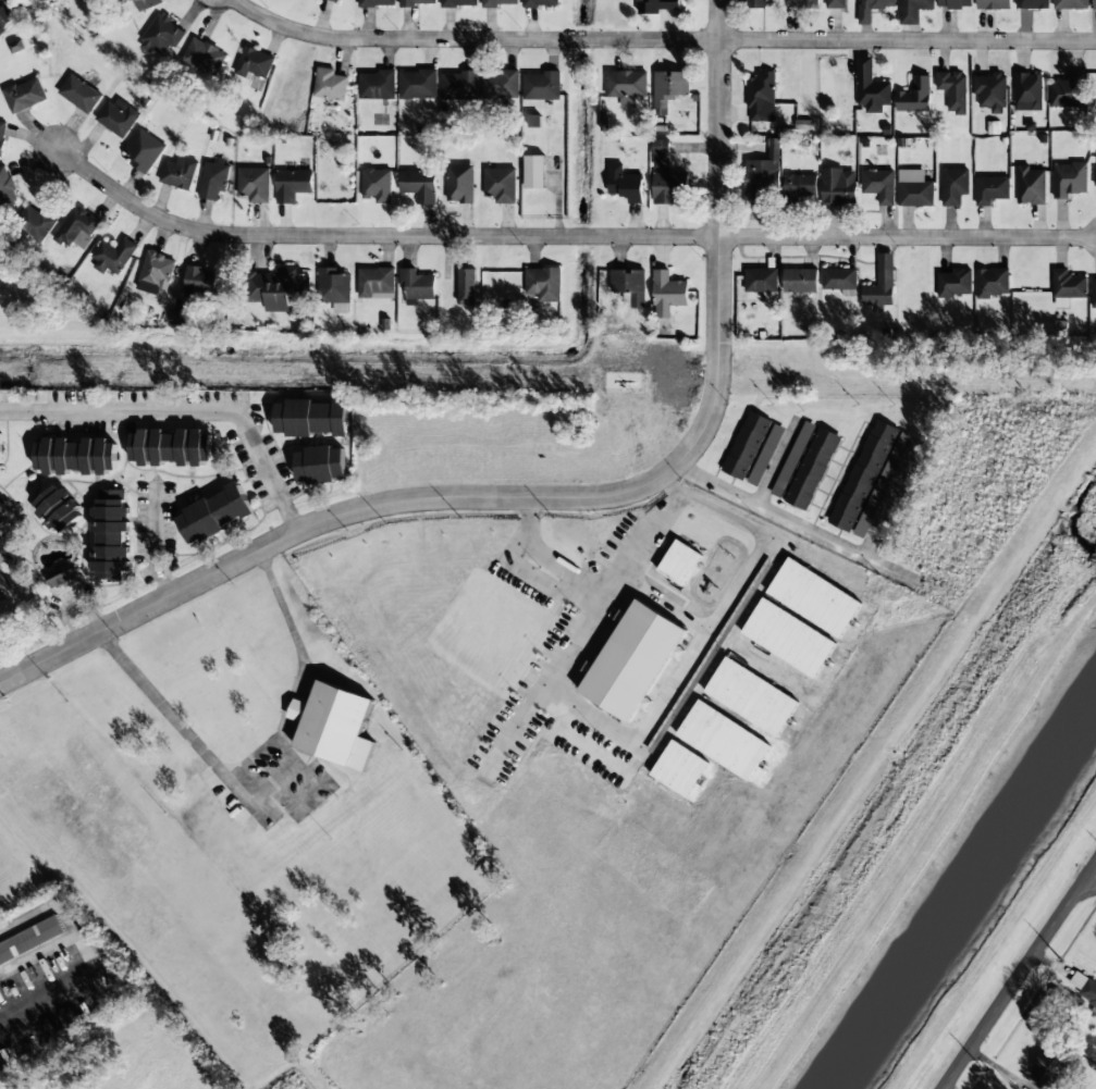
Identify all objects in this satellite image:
building: (334, 0)
building: (415, 2)
building: (801, 2)
building: (148, 3)
building: (377, 3)
building: (458, 3)
building: (497, 3)
building: (541, 3)
building: (756, 3)
building: (955, 3)
building: (1032, 3)
building: (835, 4)
building: (993, 4)
building: (1071, 4)
building: (1094, 4)
building: (657, 5)
building: (912, 10)
building: (5, 16)
building: (865, 16)
building: (161, 35)
road: (664, 39)
building: (15, 46)
building: (204, 57)
building: (255, 63)
building: (417, 84)
building: (330, 85)
building: (378, 85)
building: (479, 85)
building: (541, 86)
building: (626, 86)
building: (871, 88)
building: (668, 89)
building: (953, 91)
building: (990, 91)
building: (1029, 91)
building: (1068, 91)
building: (79, 94)
building: (25, 95)
building: (914, 96)
building: (761, 97)
building: (116, 117)
building: (533, 120)
building: (2, 136)
building: (144, 151)
building: (534, 172)
building: (178, 173)
building: (762, 174)
building: (665, 177)
building: (1095, 177)
building: (1069, 180)
building: (213, 181)
building: (459, 183)
building: (254, 184)
building: (625, 184)
building: (292, 185)
building: (377, 185)
building: (419, 185)
building: (500, 185)
building: (879, 185)
building: (800, 186)
building: (838, 186)
building: (953, 186)
building: (1031, 186)
building: (7, 188)
building: (914, 189)
building: (990, 189)
building: (35, 220)
building: (76, 226)
road: (564, 235)
building: (113, 256)
building: (157, 271)
building: (839, 279)
building: (800, 281)
building: (761, 282)
building: (993, 282)
building: (200, 283)
building: (377, 283)
building: (543, 283)
building: (955, 283)
building: (417, 284)
building: (334, 285)
building: (881, 285)
building: (467, 286)
building: (629, 287)
building: (1068, 287)
building: (280, 289)
building: (1094, 293)
building: (667, 294)
building: (178, 318)
road: (186, 408)
building: (311, 418)
building: (747, 445)
building: (0, 447)
building: (171, 447)
building: (765, 455)
building: (75, 456)
building: (321, 465)
building: (812, 469)
building: (863, 475)
building: (882, 485)
road: (559, 497)
building: (57, 510)
building: (3, 513)
building: (214, 515)
building: (110, 534)
building: (679, 562)
building: (62, 579)
building: (0, 593)
building: (0, 595)
building: (814, 597)
building: (788, 638)
building: (633, 660)
building: (751, 696)
building: (333, 726)
building: (705, 729)
road: (1094, 875)
building: (30, 941)
road: (1020, 978)
building: (1083, 986)
building: (1048, 1064)

